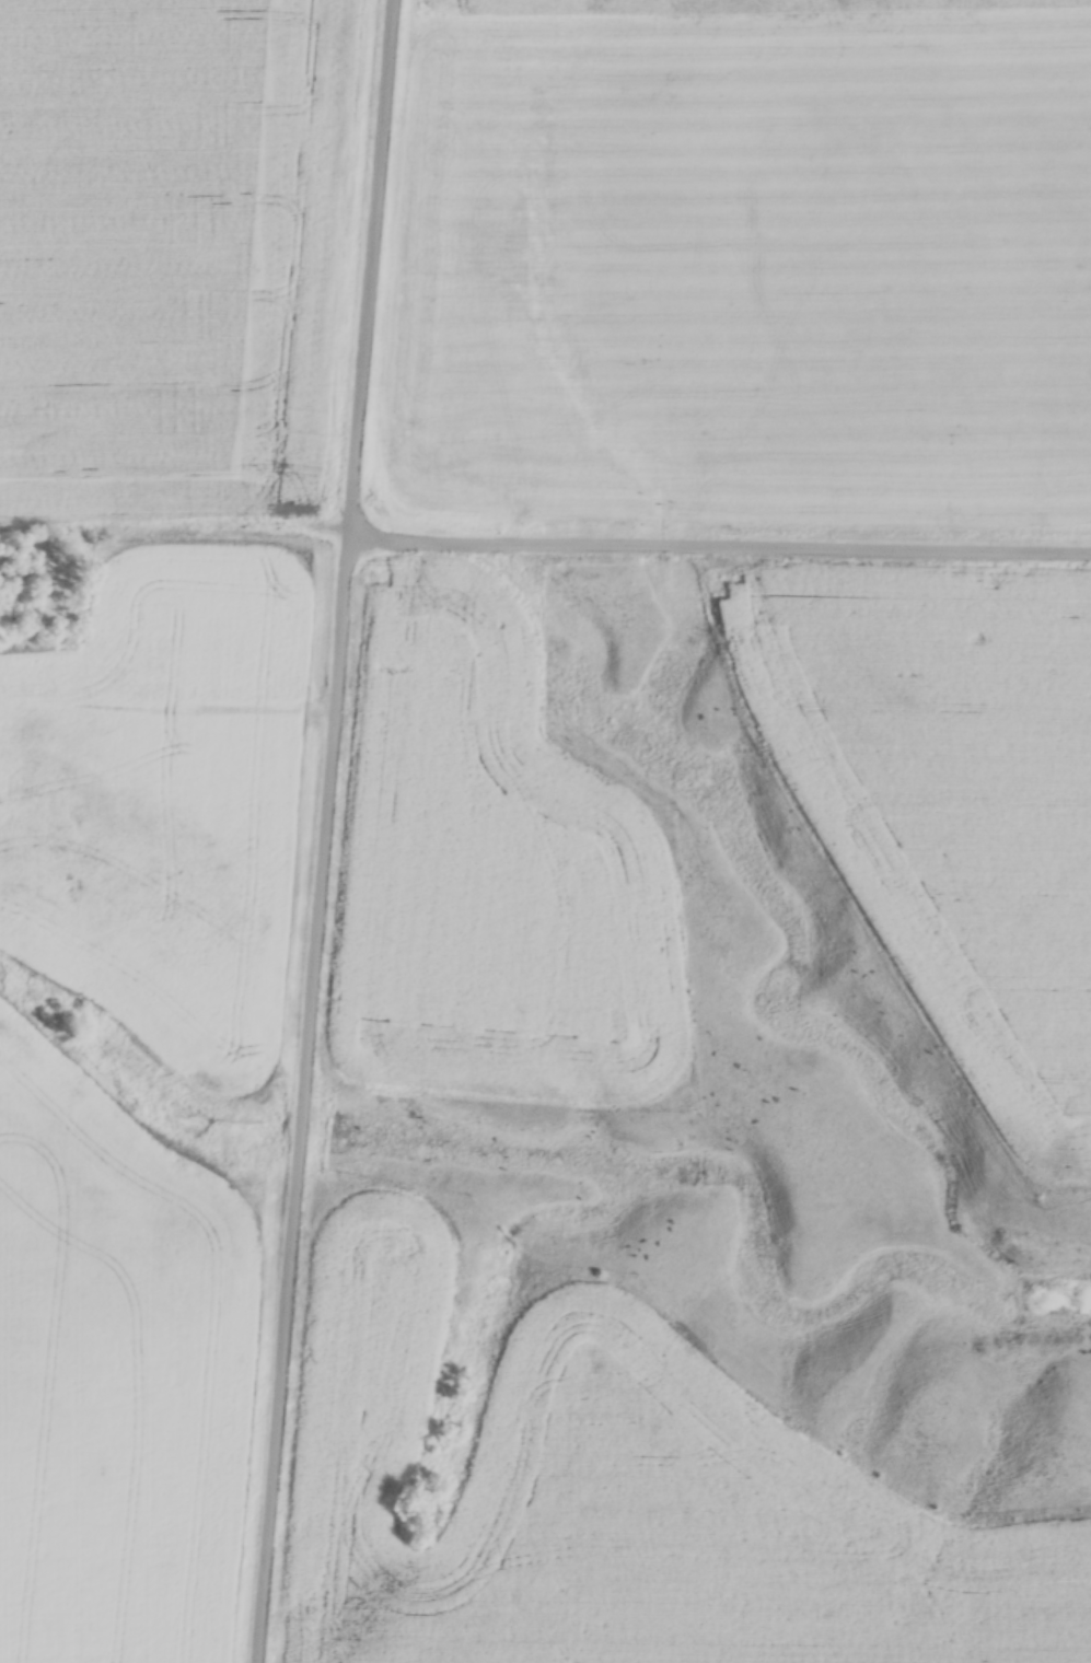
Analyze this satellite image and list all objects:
road: (721, 542)
road: (169, 701)
road: (327, 832)

